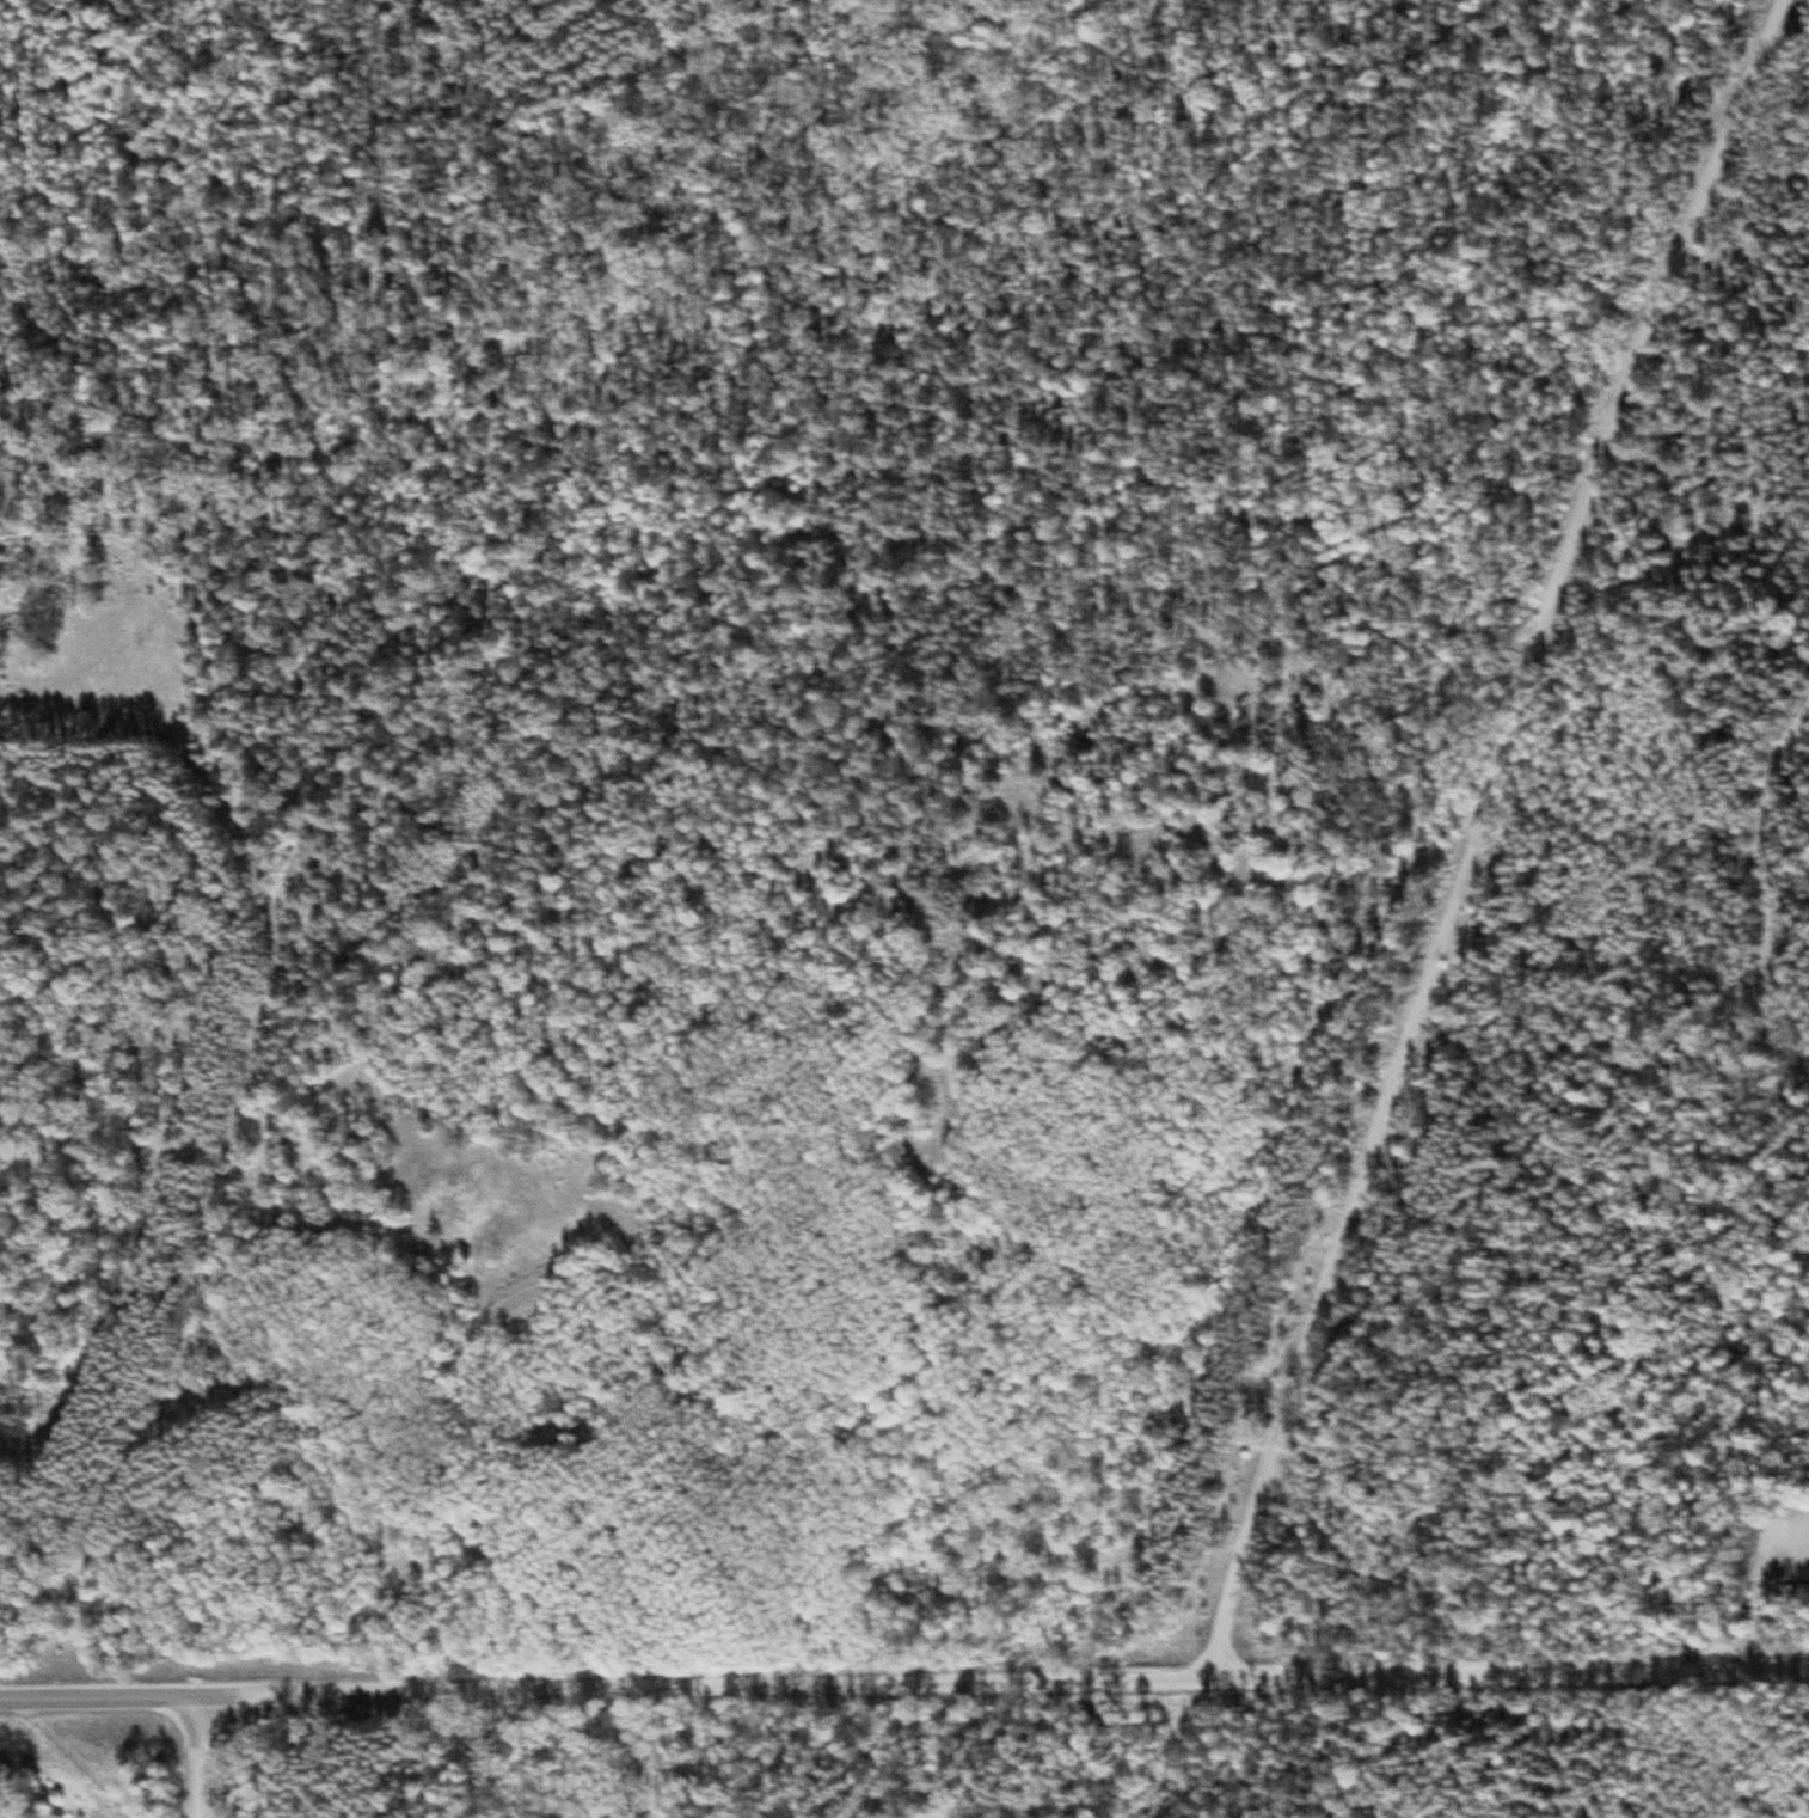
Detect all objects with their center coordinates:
road: (76, 734)
road: (1496, 834)
road: (1771, 887)
road: (1006, 1681)
road: (102, 1700)
road: (206, 1758)

